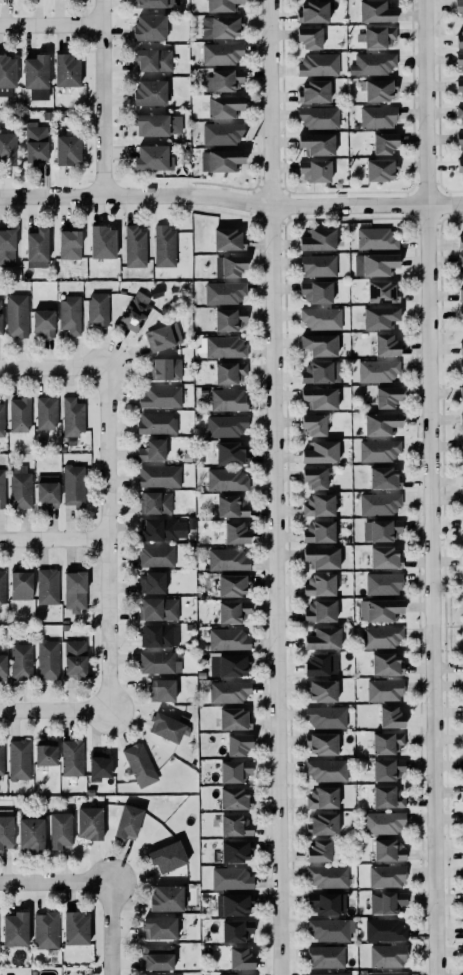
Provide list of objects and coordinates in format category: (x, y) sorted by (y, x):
building: (151, 3)
building: (221, 5)
building: (459, 7)
building: (313, 11)
building: (375, 11)
road: (51, 26)
building: (149, 27)
building: (220, 27)
building: (309, 36)
building: (376, 36)
building: (459, 38)
building: (221, 53)
building: (153, 59)
building: (460, 62)
building: (372, 63)
building: (318, 64)
building: (66, 70)
building: (7, 74)
building: (36, 76)
building: (223, 80)
building: (459, 85)
building: (377, 89)
building: (315, 91)
building: (150, 92)
road: (104, 97)
building: (224, 106)
building: (459, 111)
building: (317, 117)
building: (377, 117)
building: (157, 124)
building: (222, 133)
building: (35, 142)
building: (384, 142)
building: (460, 142)
building: (317, 143)
building: (7, 148)
building: (67, 149)
building: (150, 157)
building: (220, 160)
building: (459, 165)
building: (380, 169)
building: (315, 170)
road: (231, 200)
building: (376, 238)
building: (228, 239)
building: (318, 239)
building: (460, 240)
building: (69, 242)
building: (102, 242)
building: (135, 246)
building: (164, 246)
building: (7, 247)
building: (36, 248)
building: (461, 263)
building: (379, 264)
building: (229, 265)
building: (318, 265)
building: (316, 291)
building: (382, 291)
building: (224, 292)
building: (460, 293)
building: (97, 308)
building: (69, 314)
building: (134, 314)
building: (16, 315)
building: (379, 316)
building: (461, 316)
building: (229, 318)
building: (321, 318)
building: (0, 322)
building: (43, 322)
building: (162, 336)
building: (320, 344)
building: (386, 345)
building: (225, 346)
building: (461, 347)
building: (461, 365)
road: (51, 367)
building: (165, 368)
building: (377, 370)
building: (230, 372)
building: (317, 372)
building: (461, 392)
building: (160, 396)
building: (386, 396)
building: (319, 397)
building: (227, 399)
building: (46, 412)
building: (19, 414)
building: (73, 416)
building: (1, 419)
building: (156, 422)
building: (380, 423)
building: (462, 423)
building: (313, 424)
building: (225, 425)
building: (461, 445)
building: (152, 450)
building: (378, 450)
building: (320, 452)
building: (231, 453)
building: (158, 475)
building: (314, 477)
building: (384, 477)
building: (226, 479)
building: (461, 480)
building: (73, 485)
building: (19, 486)
road: (274, 487)
road: (434, 487)
building: (2, 489)
building: (47, 491)
building: (155, 502)
building: (462, 502)
building: (379, 503)
building: (318, 504)
building: (231, 506)
building: (461, 525)
building: (163, 529)
building: (380, 530)
building: (319, 531)
building: (235, 532)
road: (102, 538)
road: (51, 540)
building: (156, 555)
building: (321, 556)
building: (385, 557)
building: (462, 558)
building: (227, 559)
building: (151, 582)
building: (383, 583)
building: (319, 584)
building: (21, 585)
building: (47, 585)
building: (232, 585)
building: (2, 587)
building: (74, 590)
road: (444, 604)
building: (159, 609)
building: (379, 609)
building: (319, 610)
building: (232, 611)
park: (451, 621)
road: (453, 625)
building: (159, 635)
building: (380, 636)
building: (323, 637)
building: (228, 639)
road: (444, 643)
building: (48, 656)
building: (74, 656)
building: (21, 661)
building: (158, 662)
building: (386, 663)
building: (321, 664)
building: (228, 665)
building: (2, 666)
building: (462, 683)
building: (161, 689)
building: (384, 689)
building: (321, 690)
building: (228, 691)
road: (53, 710)
building: (326, 716)
building: (390, 716)
building: (233, 718)
building: (166, 727)
building: (386, 742)
building: (237, 743)
building: (322, 744)
building: (45, 752)
building: (1, 756)
building: (72, 757)
building: (19, 759)
building: (99, 764)
building: (139, 764)
building: (387, 768)
building: (234, 770)
building: (325, 770)
building: (322, 797)
building: (387, 797)
building: (235, 798)
building: (127, 821)
building: (88, 822)
building: (383, 822)
building: (235, 824)
building: (323, 824)
building: (59, 830)
building: (30, 833)
building: (388, 849)
building: (235, 850)
building: (318, 850)
building: (167, 856)
building: (327, 876)
building: (386, 876)
building: (230, 878)
road: (54, 881)
building: (166, 898)
building: (386, 901)
building: (326, 903)
building: (232, 904)
building: (75, 927)
building: (160, 927)
building: (15, 928)
road: (108, 928)
building: (330, 929)
building: (384, 929)
building: (46, 930)
building: (236, 930)
building: (325, 956)
building: (387, 956)
building: (157, 957)
building: (240, 958)
building: (330, 973)
building: (386, 973)
building: (236, 974)

